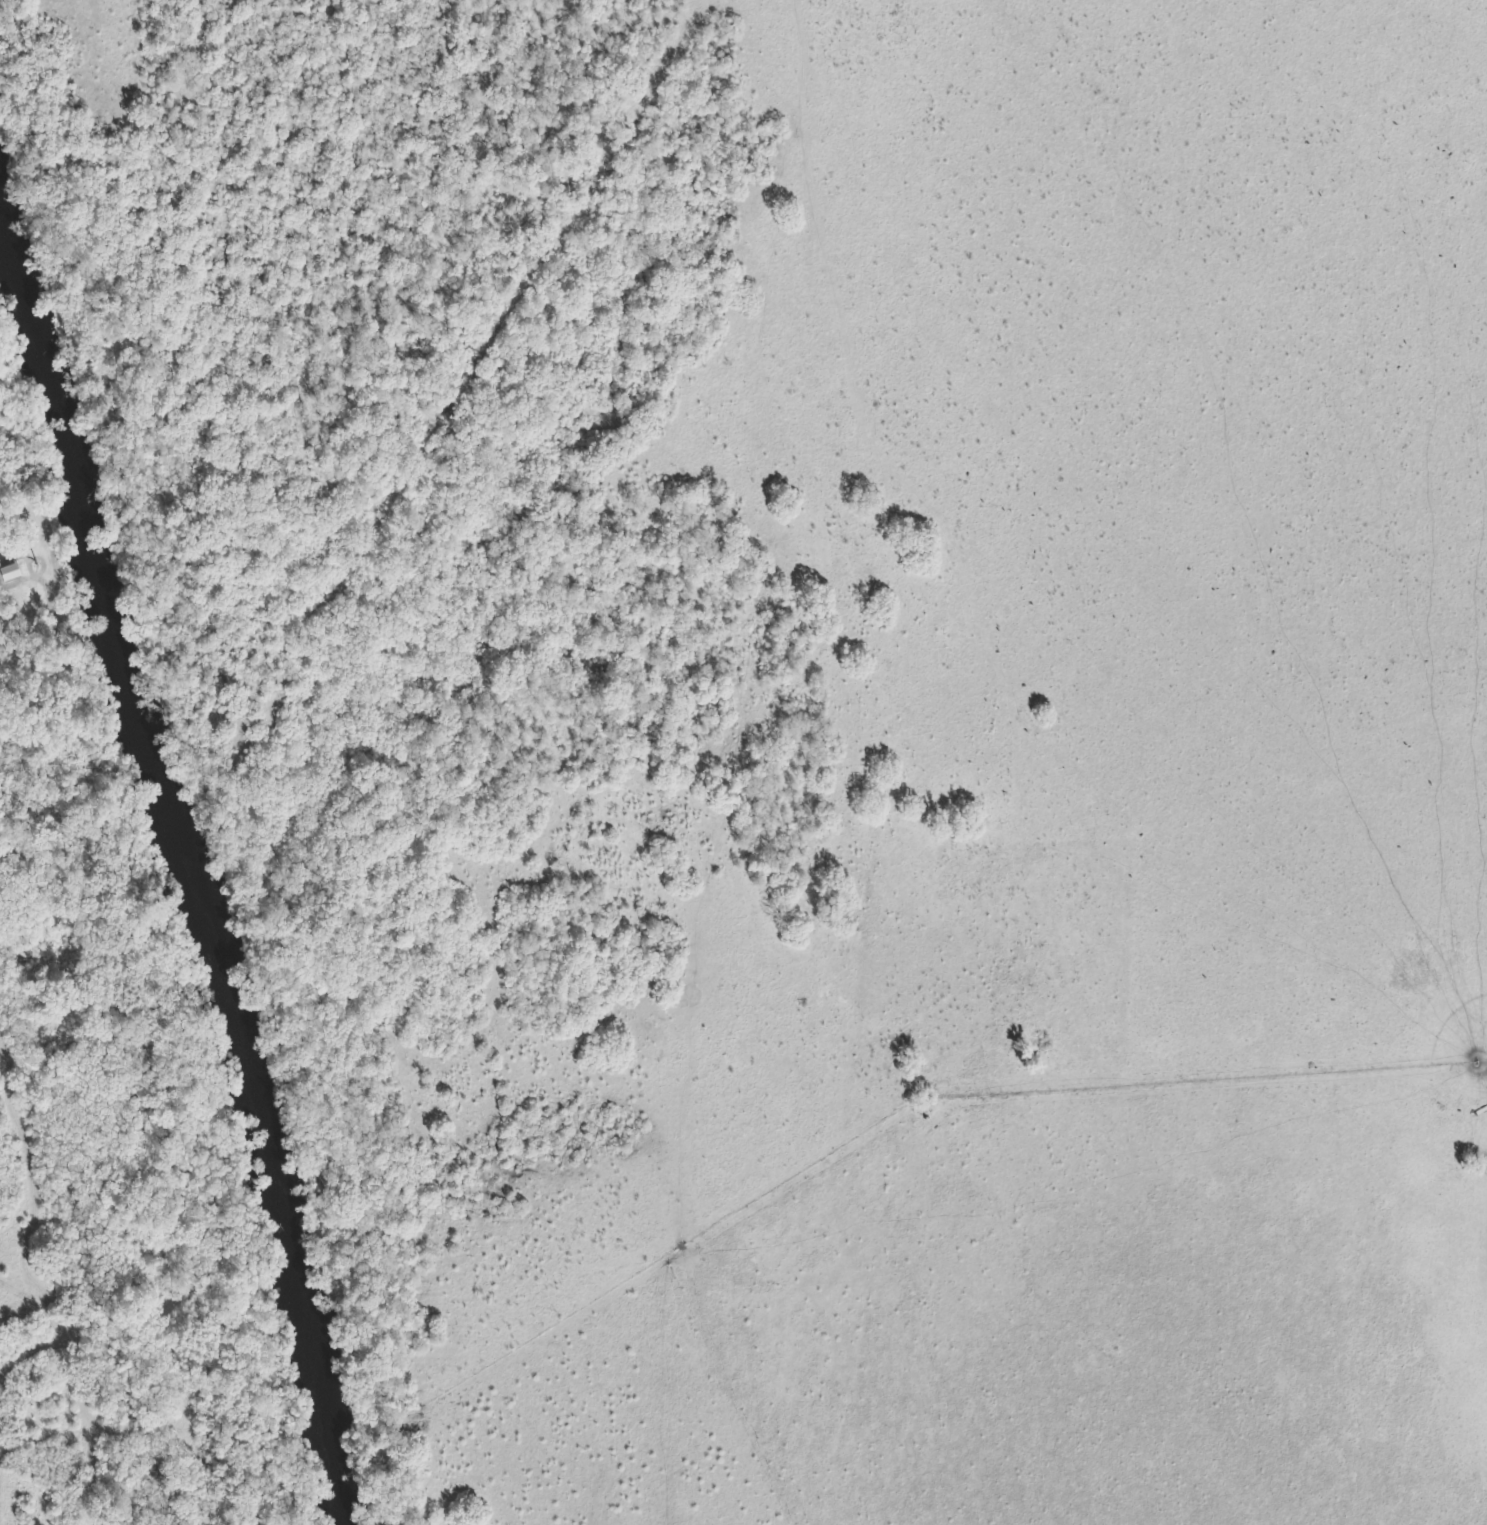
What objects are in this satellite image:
park: (541, 733)
river: (182, 834)

